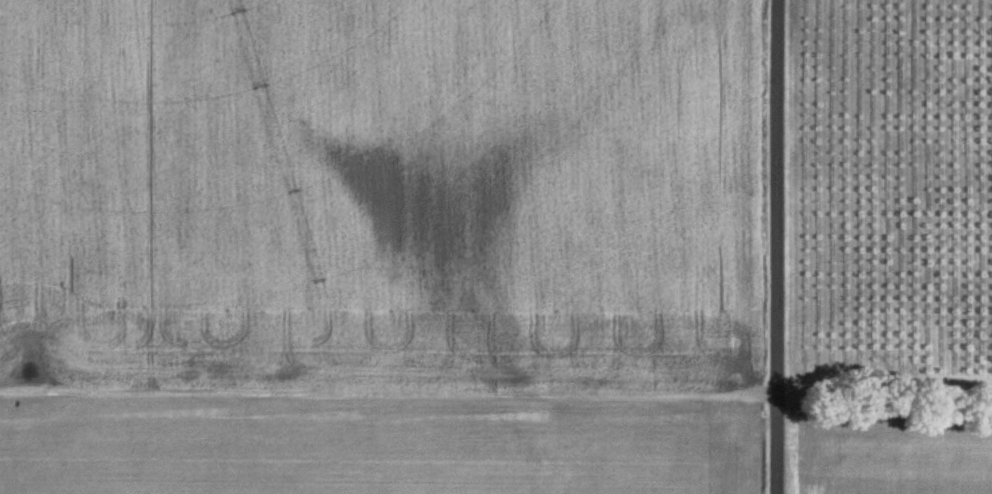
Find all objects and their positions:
road: (776, 247)

